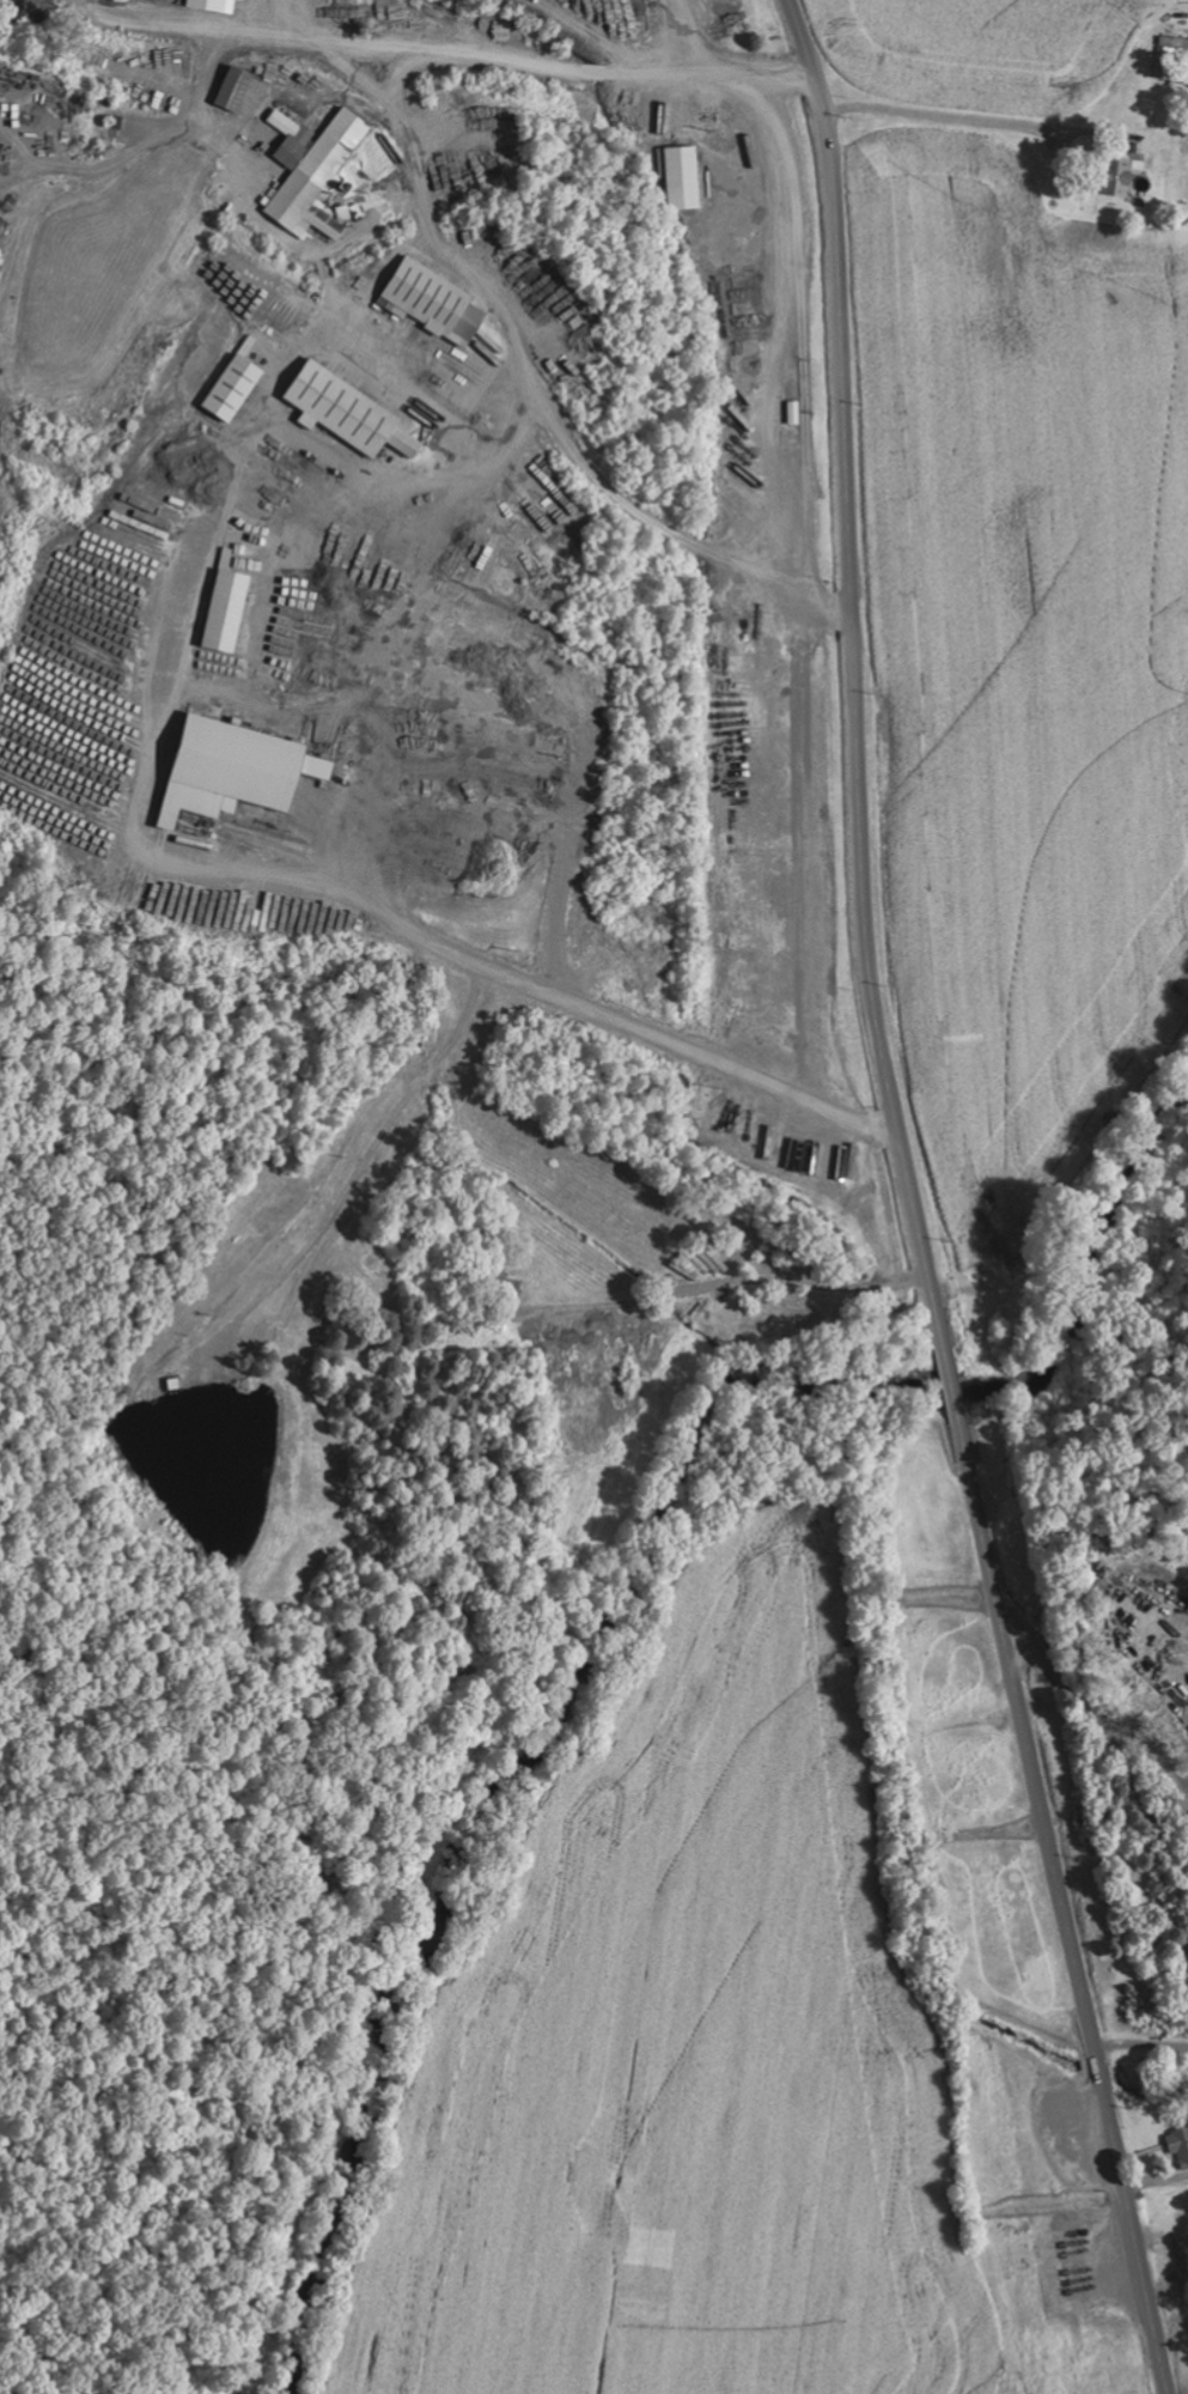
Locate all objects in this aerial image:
building: (245, 0)
building: (215, 5)
building: (1170, 49)
road: (386, 60)
building: (234, 87)
road: (776, 92)
building: (317, 171)
building: (1121, 176)
building: (682, 177)
building: (437, 303)
building: (236, 388)
building: (352, 413)
building: (230, 612)
building: (239, 771)
road: (913, 1204)
road: (1097, 1608)
building: (1180, 2144)

